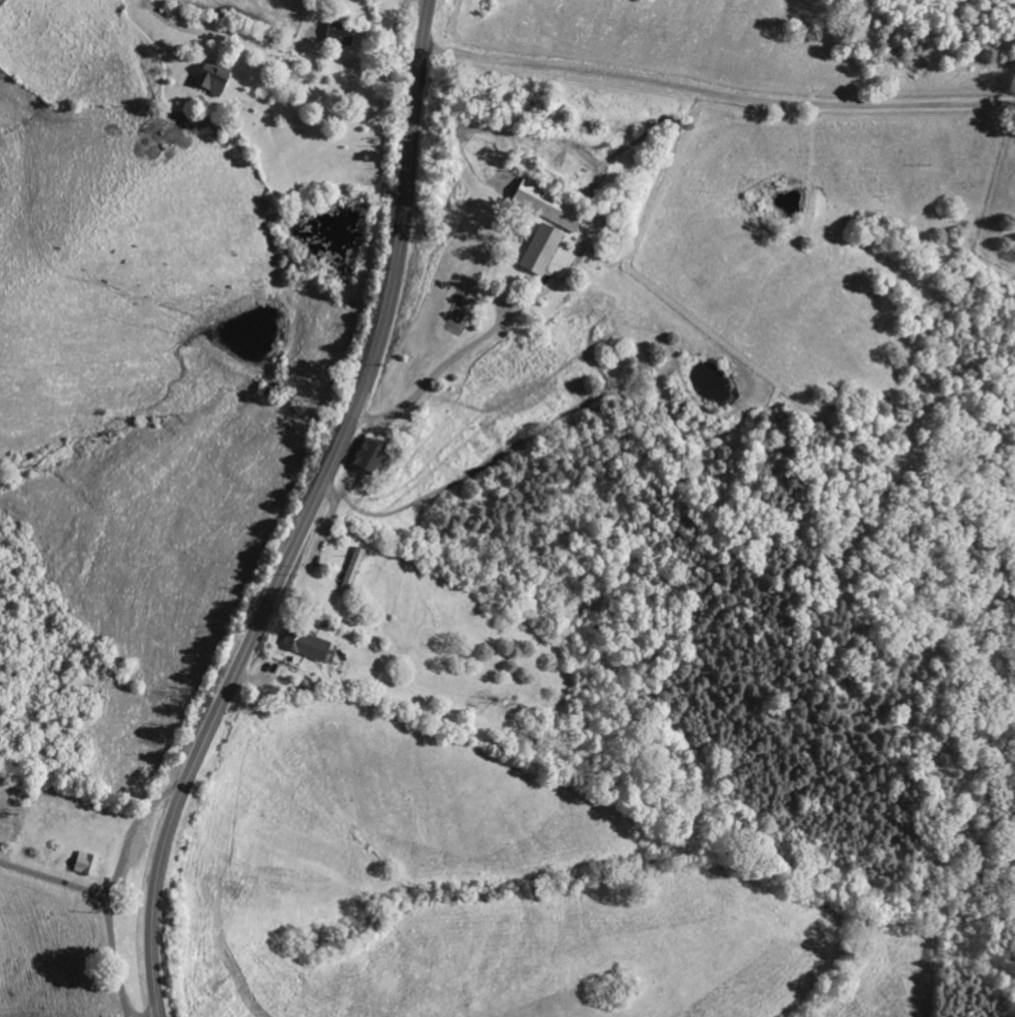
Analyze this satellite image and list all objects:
building: (336, 32)
building: (210, 75)
road: (718, 91)
building: (536, 248)
road: (481, 342)
building: (366, 455)
road: (311, 515)
building: (350, 571)
building: (303, 644)
building: (85, 863)
road: (120, 864)

